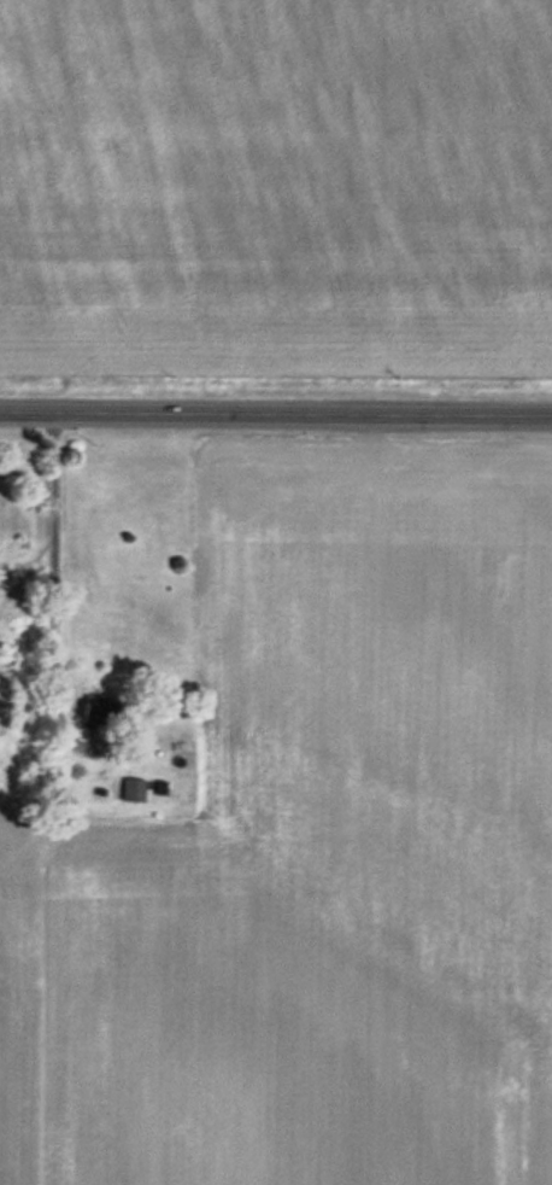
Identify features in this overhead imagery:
crop: (276, 187)
road: (276, 415)
road: (52, 555)
building: (100, 710)
building: (133, 790)

